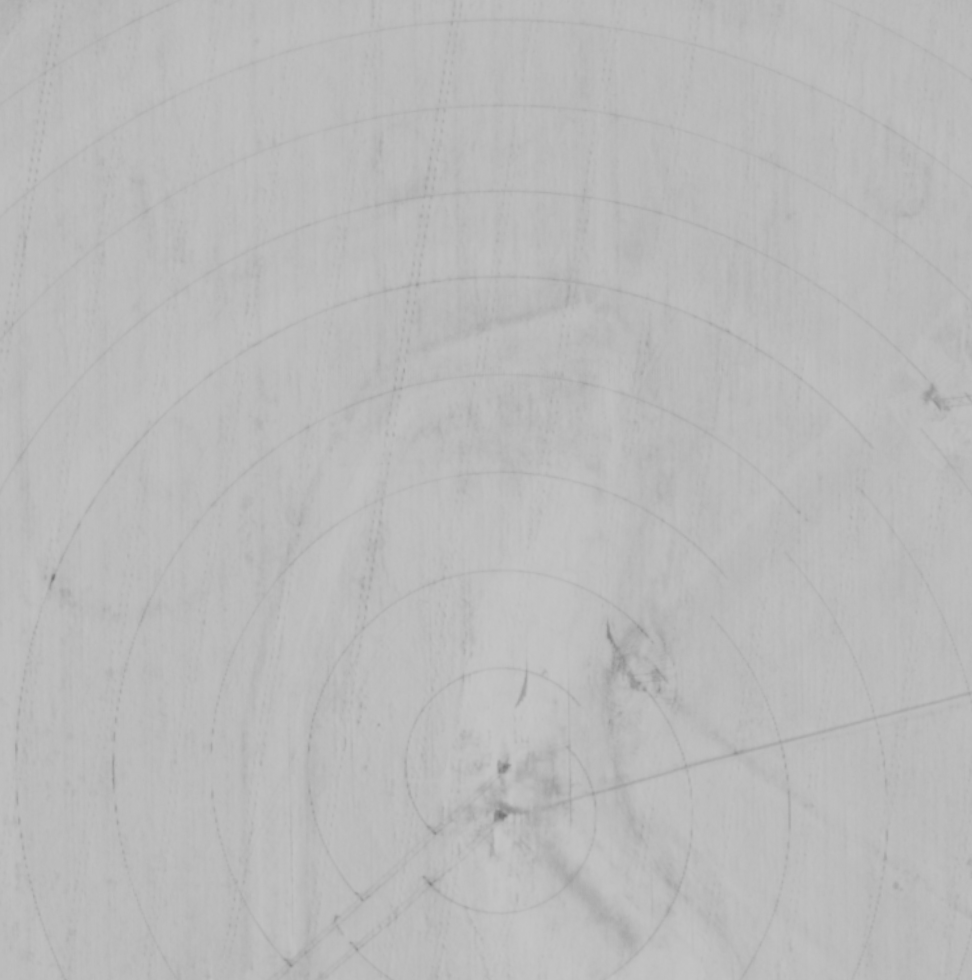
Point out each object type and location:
power tower: (939, 404)
power tower: (631, 680)

